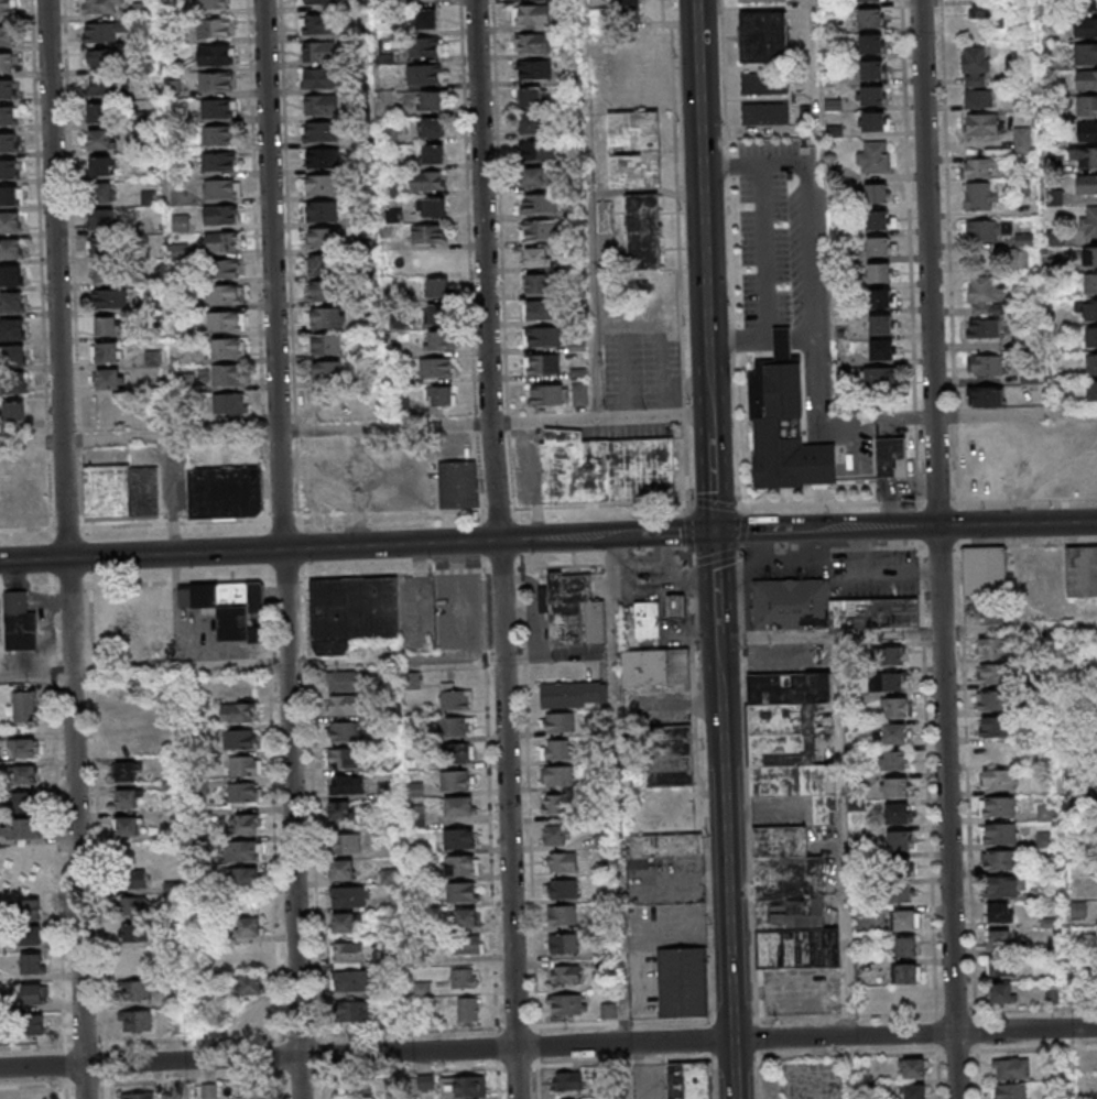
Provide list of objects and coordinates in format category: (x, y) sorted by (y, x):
building: (762, 0)
building: (870, 0)
building: (317, 1)
building: (215, 3)
building: (1089, 6)
building: (102, 7)
building: (628, 7)
building: (9, 9)
building: (988, 12)
building: (531, 14)
building: (871, 18)
building: (425, 19)
building: (318, 24)
building: (214, 28)
building: (1085, 29)
building: (101, 32)
building: (763, 36)
building: (10, 37)
building: (532, 43)
building: (871, 44)
building: (423, 47)
building: (318, 52)
building: (215, 54)
building: (1085, 54)
building: (106, 59)
building: (8, 64)
building: (975, 67)
building: (649, 68)
building: (533, 69)
building: (872, 69)
building: (423, 75)
road: (723, 76)
building: (318, 77)
building: (1085, 79)
building: (216, 81)
building: (764, 84)
building: (105, 86)
building: (8, 90)
building: (872, 95)
building: (531, 97)
building: (979, 100)
building: (431, 101)
building: (321, 104)
building: (1086, 105)
building: (218, 108)
building: (104, 115)
building: (764, 115)
building: (9, 118)
building: (872, 121)
building: (531, 124)
building: (981, 127)
building: (431, 128)
building: (322, 130)
building: (1086, 131)
building: (218, 134)
building: (105, 141)
building: (1021, 141)
building: (10, 144)
building: (537, 152)
building: (654, 152)
building: (432, 154)
building: (1083, 155)
building: (324, 156)
building: (875, 157)
building: (217, 161)
road: (726, 165)
building: (106, 167)
building: (978, 168)
building: (10, 171)
building: (536, 177)
building: (427, 181)
building: (1086, 183)
building: (323, 184)
building: (220, 188)
building: (877, 193)
building: (106, 194)
building: (1053, 196)
road: (703, 197)
building: (12, 198)
building: (149, 198)
building: (980, 198)
building: (539, 204)
building: (431, 208)
building: (324, 210)
building: (219, 214)
building: (880, 219)
building: (1089, 220)
building: (107, 221)
building: (181, 224)
building: (13, 225)
building: (537, 230)
building: (996, 232)
building: (647, 233)
building: (428, 235)
building: (324, 237)
building: (1055, 237)
building: (220, 241)
building: (878, 246)
building: (109, 249)
road: (729, 250)
building: (13, 251)
road: (677, 254)
building: (1089, 255)
building: (535, 258)
building: (1019, 258)
building: (325, 264)
building: (227, 270)
building: (879, 272)
building: (108, 274)
building: (14, 279)
building: (1090, 283)
building: (535, 284)
building: (437, 289)
building: (326, 291)
building: (986, 291)
building: (225, 296)
building: (880, 297)
building: (110, 301)
building: (15, 304)
building: (536, 311)
building: (1090, 311)
building: (434, 314)
building: (326, 316)
building: (224, 323)
building: (881, 324)
building: (110, 328)
building: (984, 329)
building: (15, 333)
building: (542, 336)
building: (1090, 337)
road: (732, 339)
building: (327, 344)
building: (227, 349)
building: (882, 349)
building: (112, 355)
building: (17, 358)
building: (542, 364)
building: (1090, 364)
building: (986, 367)
building: (435, 368)
building: (328, 370)
building: (227, 377)
building: (112, 381)
building: (882, 381)
building: (18, 385)
building: (1091, 391)
building: (579, 393)
building: (546, 394)
building: (439, 396)
building: (986, 398)
building: (229, 405)
building: (13, 412)
road: (1015, 414)
road: (602, 417)
building: (788, 426)
road: (390, 428)
road: (736, 431)
road: (175, 437)
road: (33, 443)
building: (1046, 450)
building: (891, 458)
road: (713, 463)
building: (605, 467)
building: (458, 485)
building: (22, 486)
building: (122, 493)
building: (230, 493)
road: (714, 504)
road: (740, 509)
road: (346, 516)
road: (954, 525)
road: (742, 529)
road: (687, 530)
road: (762, 531)
traffic signals: (715, 532)
road: (663, 533)
road: (72, 548)
road: (289, 548)
road: (305, 548)
road: (506, 548)
road: (943, 548)
road: (717, 553)
road: (692, 561)
road: (642, 563)
building: (1080, 573)
road: (673, 577)
building: (987, 580)
road: (717, 594)
building: (229, 607)
building: (824, 608)
building: (680, 609)
building: (576, 611)
building: (357, 613)
building: (650, 621)
building: (20, 622)
road: (890, 634)
road: (776, 638)
building: (992, 649)
building: (893, 655)
building: (654, 665)
road: (146, 666)
building: (991, 675)
building: (343, 681)
building: (414, 681)
building: (888, 681)
building: (572, 694)
building: (454, 697)
building: (991, 701)
building: (343, 704)
building: (23, 707)
building: (895, 707)
building: (238, 712)
building: (558, 721)
building: (455, 726)
building: (996, 727)
building: (341, 731)
building: (892, 733)
building: (790, 739)
building: (239, 740)
building: (22, 748)
building: (556, 749)
building: (456, 752)
building: (669, 754)
building: (341, 757)
building: (893, 760)
building: (245, 766)
building: (126, 772)
building: (23, 775)
building: (557, 775)
building: (456, 780)
building: (998, 780)
building: (346, 783)
road: (61, 786)
building: (894, 786)
building: (170, 788)
building: (415, 788)
building: (384, 791)
building: (242, 793)
building: (127, 799)
building: (23, 801)
building: (560, 803)
building: (459, 806)
building: (999, 806)
building: (338, 809)
building: (1045, 812)
building: (897, 813)
building: (415, 814)
road: (623, 817)
road: (705, 821)
building: (243, 824)
building: (126, 827)
building: (29, 829)
building: (999, 833)
building: (556, 834)
building: (458, 838)
road: (102, 839)
building: (604, 840)
building: (898, 840)
building: (346, 845)
building: (661, 848)
building: (243, 850)
building: (562, 860)
building: (999, 860)
building: (21, 862)
building: (460, 864)
road: (846, 867)
building: (138, 868)
building: (343, 871)
road: (727, 877)
building: (245, 878)
building: (899, 879)
building: (1004, 886)
building: (561, 888)
building: (461, 891)
building: (349, 895)
building: (790, 902)
building: (134, 906)
building: (25, 907)
building: (1000, 913)
building: (562, 915)
building: (465, 920)
building: (903, 920)
building: (347, 922)
building: (249, 927)
building: (29, 934)
building: (133, 934)
building: (999, 940)
building: (563, 942)
building: (467, 945)
building: (903, 946)
building: (606, 951)
building: (347, 954)
building: (247, 956)
building: (137, 960)
building: (32, 964)
building: (1000, 966)
building: (904, 972)
building: (566, 973)
building: (463, 978)
building: (350, 980)
building: (683, 980)
building: (249, 986)
building: (422, 988)
building: (135, 991)
building: (1001, 992)
building: (33, 993)
building: (1053, 994)
building: (564, 1005)
building: (467, 1009)
building: (609, 1009)
building: (351, 1011)
building: (421, 1016)
building: (135, 1021)
building: (32, 1024)
road: (547, 1046)
building: (912, 1068)
building: (1010, 1069)
building: (424, 1080)
building: (568, 1080)
building: (689, 1080)
building: (463, 1087)
building: (209, 1091)
building: (252, 1091)
building: (913, 1091)
building: (1009, 1091)
building: (34, 1096)
building: (138, 1096)

